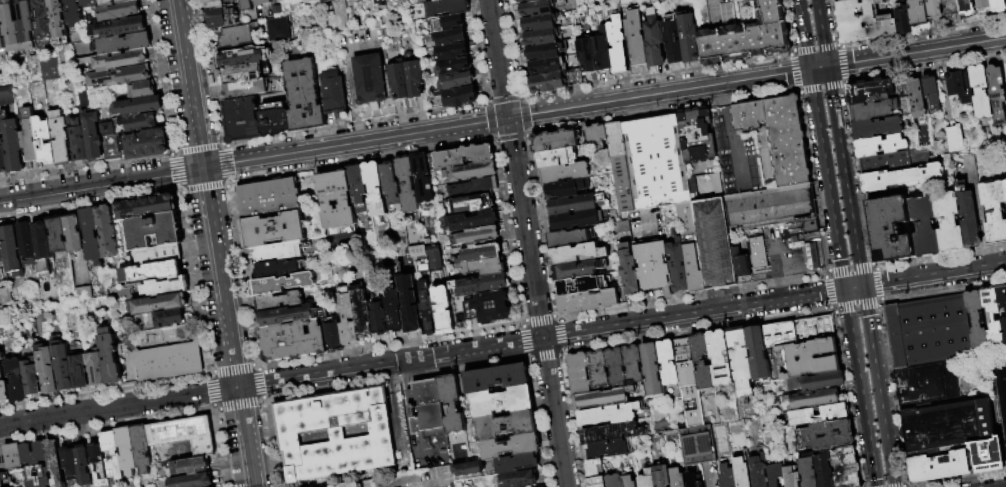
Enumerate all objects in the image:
building: (338, 0)
building: (438, 0)
building: (114, 1)
building: (231, 1)
building: (296, 1)
building: (314, 1)
building: (328, 1)
building: (528, 1)
building: (849, 1)
building: (90, 3)
building: (263, 3)
building: (382, 3)
building: (983, 4)
building: (247, 5)
building: (998, 5)
building: (966, 7)
building: (447, 8)
building: (535, 8)
building: (951, 8)
building: (120, 10)
building: (934, 10)
building: (918, 12)
building: (74, 13)
building: (222, 14)
building: (42, 18)
building: (59, 19)
building: (902, 20)
building: (449, 22)
building: (538, 22)
building: (863, 22)
building: (19, 25)
building: (118, 26)
building: (276, 29)
road: (822, 33)
building: (744, 34)
road: (804, 34)
building: (2, 35)
building: (236, 36)
building: (453, 36)
building: (541, 38)
building: (651, 39)
building: (679, 39)
building: (637, 40)
building: (124, 42)
building: (617, 46)
road: (814, 47)
building: (455, 50)
building: (543, 52)
building: (604, 53)
road: (917, 53)
building: (588, 57)
building: (241, 58)
building: (117, 59)
road: (842, 64)
building: (457, 65)
building: (545, 66)
building: (1005, 66)
traffic signals: (828, 67)
building: (48, 68)
road: (819, 68)
traffic signals: (810, 70)
road: (923, 70)
road: (792, 71)
road: (207, 72)
building: (243, 73)
road: (162, 75)
building: (120, 76)
road: (764, 77)
building: (460, 79)
building: (555, 80)
building: (373, 81)
building: (408, 82)
road: (845, 82)
road: (187, 83)
building: (956, 83)
road: (821, 88)
building: (142, 89)
building: (244, 89)
building: (877, 90)
building: (932, 91)
building: (981, 91)
road: (799, 92)
building: (997, 93)
building: (6, 95)
building: (304, 95)
building: (462, 96)
building: (335, 97)
building: (917, 97)
road: (722, 98)
building: (432, 100)
building: (138, 105)
building: (874, 109)
building: (242, 119)
building: (274, 119)
traffic signals: (507, 119)
building: (139, 122)
road: (459, 126)
building: (878, 127)
building: (92, 129)
building: (594, 133)
building: (776, 134)
building: (694, 135)
building: (30, 136)
building: (61, 138)
building: (953, 138)
building: (78, 139)
building: (45, 141)
building: (555, 141)
building: (13, 144)
building: (139, 144)
building: (882, 145)
road: (197, 148)
road: (733, 150)
building: (3, 156)
building: (464, 156)
building: (556, 158)
building: (655, 160)
building: (895, 162)
road: (223, 163)
building: (619, 165)
road: (972, 167)
traffic signals: (201, 168)
road: (177, 170)
building: (471, 171)
building: (565, 173)
road: (845, 176)
road: (859, 176)
building: (903, 178)
building: (423, 179)
road: (827, 179)
building: (358, 182)
road: (812, 182)
building: (407, 183)
road: (100, 184)
building: (1005, 185)
road: (204, 186)
building: (392, 186)
building: (477, 186)
building: (565, 188)
building: (376, 189)
building: (269, 196)
building: (336, 200)
building: (475, 202)
building: (147, 207)
building: (769, 207)
building: (994, 210)
building: (576, 211)
building: (969, 219)
building: (476, 221)
building: (949, 222)
road: (981, 222)
building: (925, 225)
building: (274, 229)
building: (891, 229)
building: (154, 231)
building: (75, 234)
building: (99, 234)
building: (59, 235)
building: (476, 237)
building: (570, 237)
road: (527, 243)
building: (712, 243)
building: (27, 244)
building: (802, 244)
building: (2, 247)
building: (43, 248)
building: (13, 251)
building: (278, 251)
building: (756, 252)
parking lot: (780, 252)
building: (481, 253)
building: (579, 253)
building: (158, 255)
road: (940, 256)
building: (433, 258)
building: (739, 263)
road: (872, 263)
building: (651, 266)
road: (849, 266)
building: (483, 267)
building: (676, 267)
building: (692, 267)
road: (784, 267)
building: (277, 269)
building: (578, 269)
building: (627, 269)
road: (827, 270)
building: (152, 271)
road: (933, 274)
building: (0, 276)
building: (283, 284)
building: (481, 284)
road: (878, 284)
building: (582, 285)
building: (165, 287)
traffic signals: (862, 287)
road: (853, 288)
traffic signals: (845, 290)
road: (826, 291)
road: (943, 291)
road: (817, 293)
road: (691, 296)
building: (1002, 296)
building: (280, 301)
building: (589, 301)
road: (880, 302)
building: (160, 304)
building: (410, 304)
building: (491, 307)
building: (444, 308)
road: (856, 308)
building: (428, 310)
building: (395, 312)
road: (833, 312)
building: (361, 313)
building: (287, 316)
building: (346, 316)
road: (556, 317)
building: (993, 317)
building: (167, 318)
building: (378, 319)
road: (538, 319)
building: (978, 319)
road: (521, 323)
road: (226, 327)
building: (1004, 327)
road: (696, 330)
building: (796, 330)
building: (929, 331)
road: (561, 334)
building: (334, 335)
building: (293, 341)
road: (523, 341)
road: (513, 342)
road: (562, 353)
building: (754, 353)
road: (855, 353)
building: (808, 356)
building: (111, 357)
road: (525, 357)
road: (544, 357)
building: (717, 358)
building: (167, 360)
road: (529, 360)
building: (700, 360)
building: (665, 361)
building: (630, 362)
building: (737, 362)
road: (256, 364)
building: (63, 365)
building: (613, 366)
road: (231, 367)
building: (596, 368)
building: (48, 369)
building: (97, 369)
road: (459, 369)
building: (650, 369)
building: (79, 371)
road: (208, 372)
building: (576, 372)
building: (31, 378)
building: (494, 378)
building: (17, 380)
building: (686, 381)
building: (812, 381)
building: (4, 383)
road: (259, 383)
building: (922, 384)
road: (878, 386)
building: (1001, 390)
road: (209, 391)
road: (892, 395)
road: (846, 396)
building: (600, 397)
building: (809, 397)
road: (262, 400)
building: (499, 400)
building: (449, 403)
road: (237, 405)
road: (118, 406)
road: (404, 407)
road: (214, 408)
road: (395, 409)
building: (816, 412)
building: (425, 413)
building: (606, 413)
road: (572, 421)
road: (106, 424)
building: (503, 424)
building: (948, 424)
building: (609, 431)
building: (182, 433)
building: (333, 433)
building: (824, 434)
building: (693, 443)
road: (268, 444)
building: (508, 446)
building: (604, 447)
building: (139, 448)
road: (222, 448)
building: (124, 450)
building: (109, 452)
road: (426, 452)
road: (871, 452)
building: (11, 455)
building: (67, 460)
building: (53, 461)
building: (95, 462)
building: (33, 464)
building: (81, 464)
building: (188, 464)
building: (493, 466)
building: (591, 466)
building: (843, 466)
building: (940, 466)
building: (756, 470)
building: (805, 470)
building: (821, 470)
building: (740, 471)
building: (659, 475)
building: (773, 475)
building: (724, 476)
building: (789, 476)
building: (674, 477)
building: (518, 478)
building: (644, 478)
building: (3, 479)
road: (960, 479)
building: (191, 480)
building: (611, 480)
building: (691, 480)
building: (593, 481)
building: (626, 481)
building: (346, 484)
road: (898, 486)
road: (904, 486)

